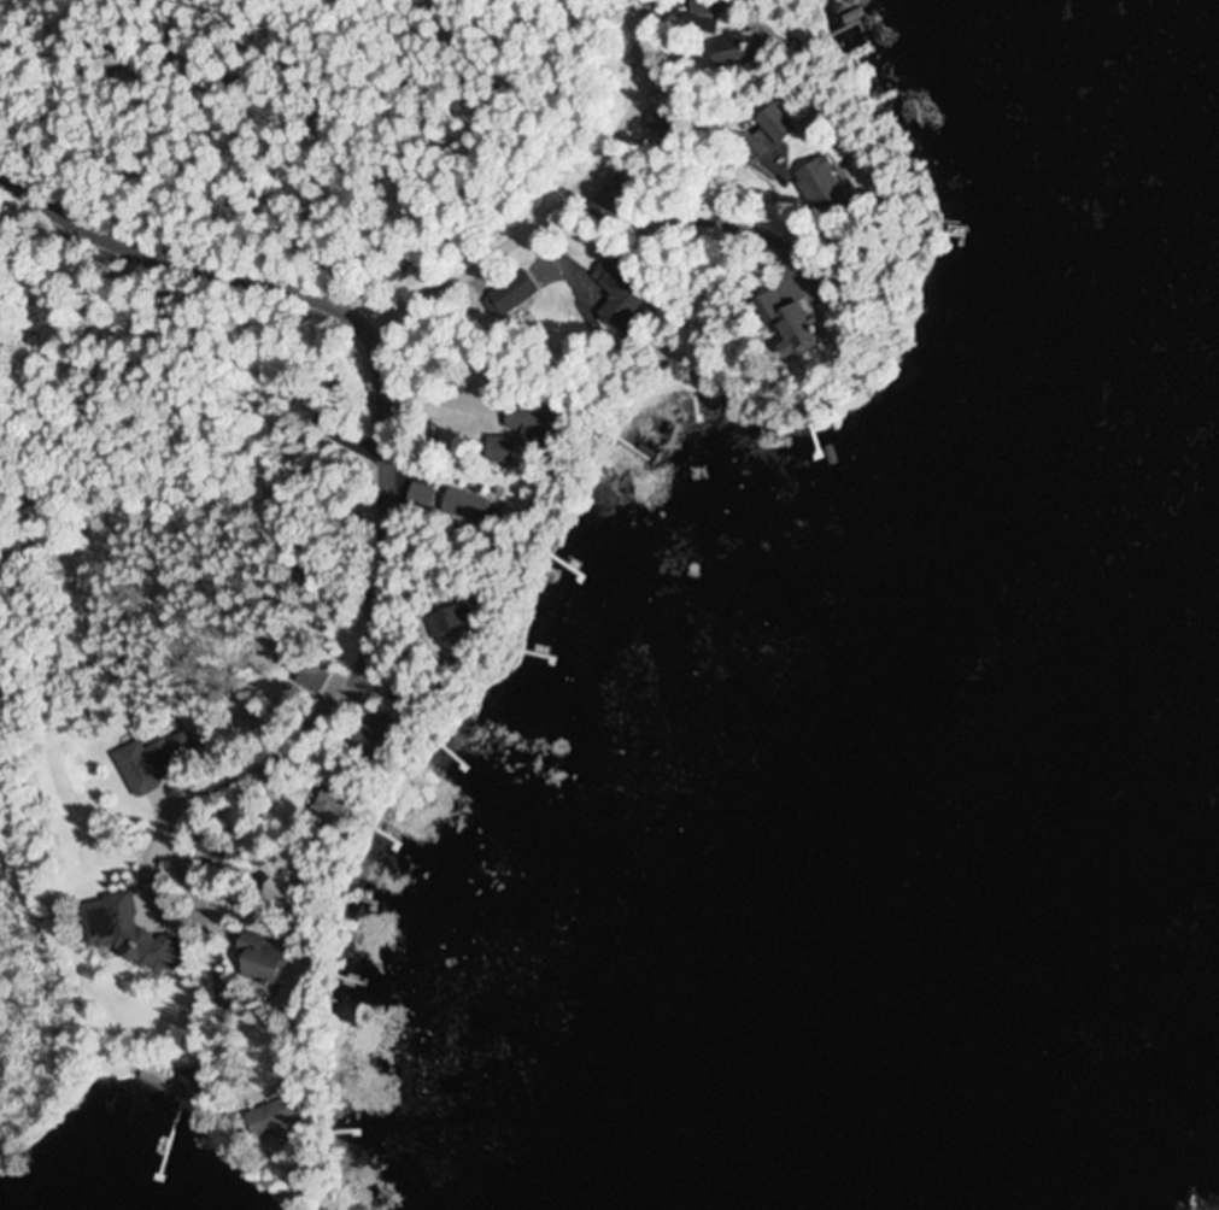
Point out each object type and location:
building: (711, 8)
road: (13, 23)
building: (746, 51)
road: (620, 89)
building: (833, 188)
building: (626, 195)
building: (517, 294)
building: (629, 295)
building: (808, 323)
building: (529, 412)
road: (385, 416)
building: (510, 447)
building: (424, 495)
building: (476, 507)
building: (465, 621)
building: (316, 679)
building: (160, 764)
building: (344, 803)
building: (295, 891)
building: (130, 932)
building: (271, 961)
building: (194, 1083)
building: (285, 1120)

